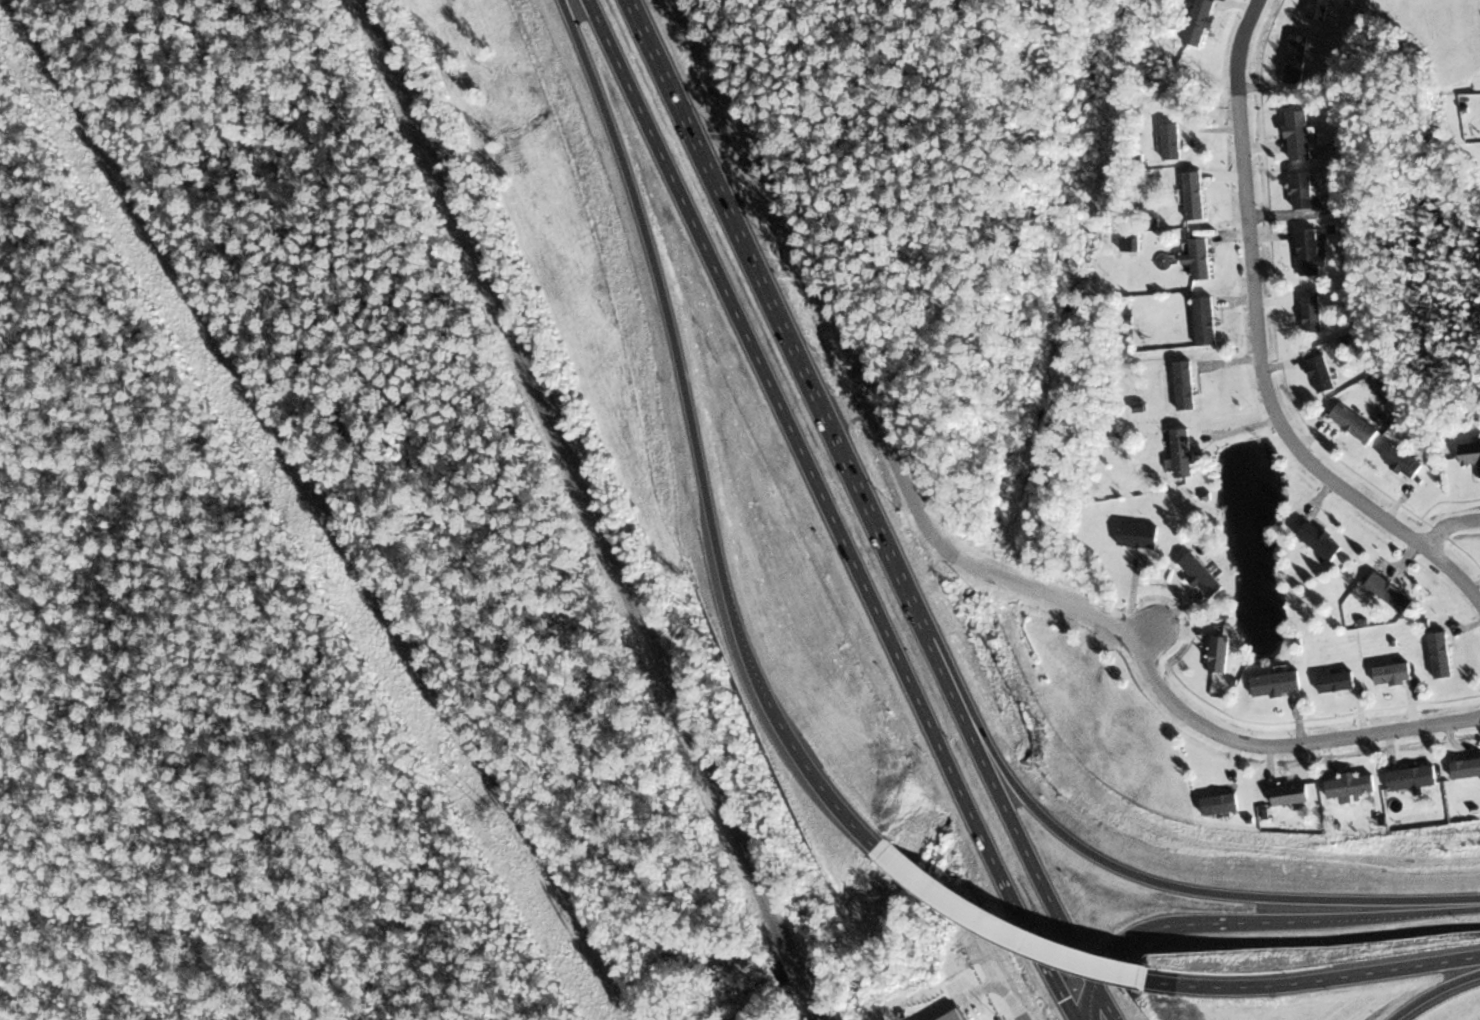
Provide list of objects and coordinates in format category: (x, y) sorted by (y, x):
building: (1313, 15)
building: (1193, 29)
building: (1290, 70)
power tower: (82, 139)
building: (1166, 144)
building: (1292, 145)
building: (1297, 201)
building: (1189, 203)
building: (1301, 261)
building: (1194, 265)
building: (1199, 324)
road: (671, 325)
building: (1303, 325)
road: (1260, 344)
road: (798, 357)
building: (1320, 374)
building: (1313, 383)
building: (1177, 389)
road: (850, 409)
building: (1353, 423)
building: (1346, 434)
building: (1173, 462)
building: (1464, 466)
building: (1397, 471)
power tower: (290, 481)
railway: (593, 509)
road: (830, 511)
road: (1448, 524)
building: (1131, 543)
building: (1312, 546)
road: (955, 554)
building: (1200, 574)
building: (1193, 585)
building: (1380, 599)
road: (1146, 635)
building: (1210, 660)
building: (1436, 662)
building: (1387, 688)
building: (1331, 690)
building: (1268, 692)
road: (1286, 744)
road: (811, 762)
building: (1464, 780)
building: (1350, 787)
building: (1405, 789)
building: (1289, 795)
building: (1342, 798)
building: (1278, 808)
power tower: (489, 810)
building: (1208, 813)
power tower: (1268, 845)
road: (1026, 849)
road: (1188, 888)
road: (1410, 913)
road: (1205, 921)
road: (1008, 932)
airport: (1305, 939)
traffic signals: (1106, 960)
road: (1313, 981)
power tower: (1179, 988)
road: (1436, 993)
road: (1004, 995)
road: (1090, 1000)
road: (1105, 1000)
traffic signals: (1068, 1003)

